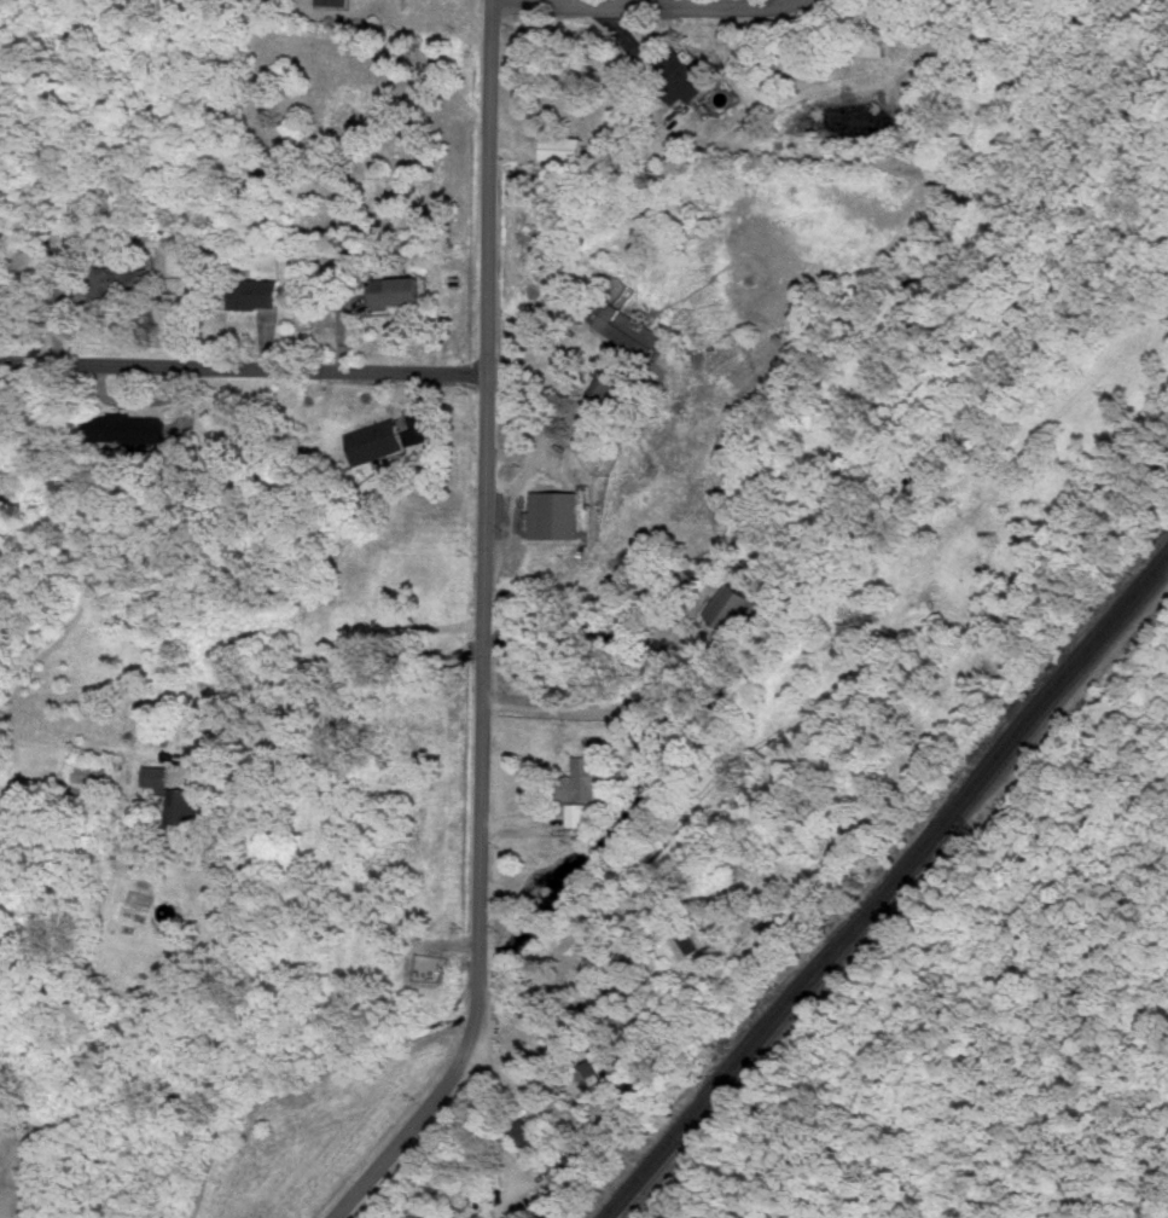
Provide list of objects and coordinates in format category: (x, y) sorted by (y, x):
building: (332, 1)
road: (651, 6)
building: (676, 75)
building: (565, 146)
building: (120, 279)
building: (399, 290)
building: (257, 291)
building: (629, 329)
road: (244, 367)
building: (605, 383)
building: (129, 427)
building: (376, 439)
building: (556, 512)
road: (582, 514)
building: (734, 605)
road: (484, 632)
road: (320, 650)
road: (587, 713)
building: (589, 775)
building: (175, 793)
building: (577, 813)
railway: (885, 884)
railway: (893, 895)
building: (786, 909)
road: (603, 923)
road: (581, 994)
building: (587, 1071)
road: (496, 1130)
building: (525, 1132)
building: (563, 1164)

